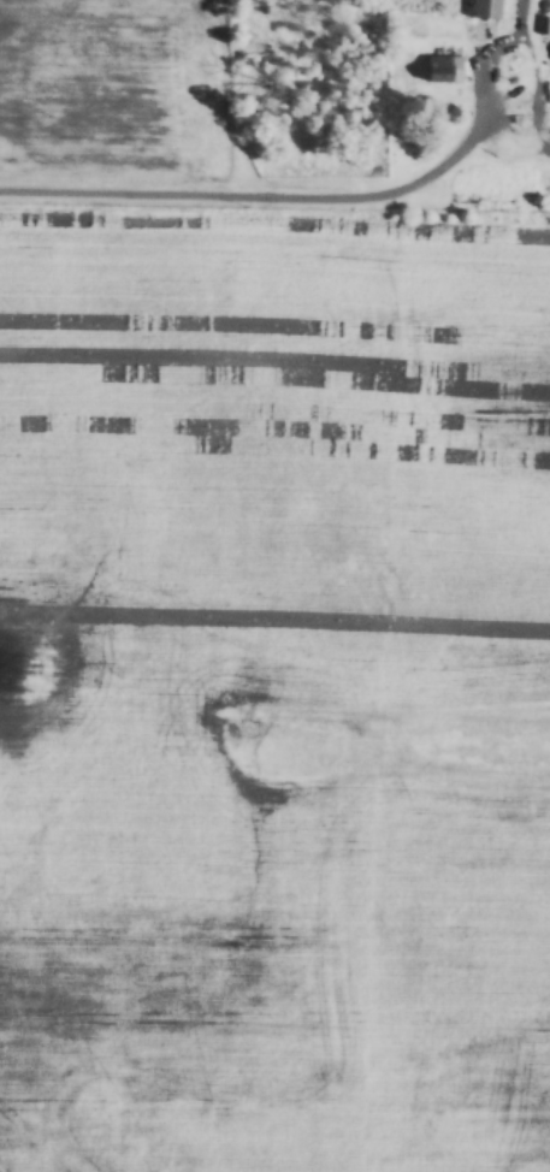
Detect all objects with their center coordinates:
building: (487, 8)
building: (443, 69)
road: (297, 199)

